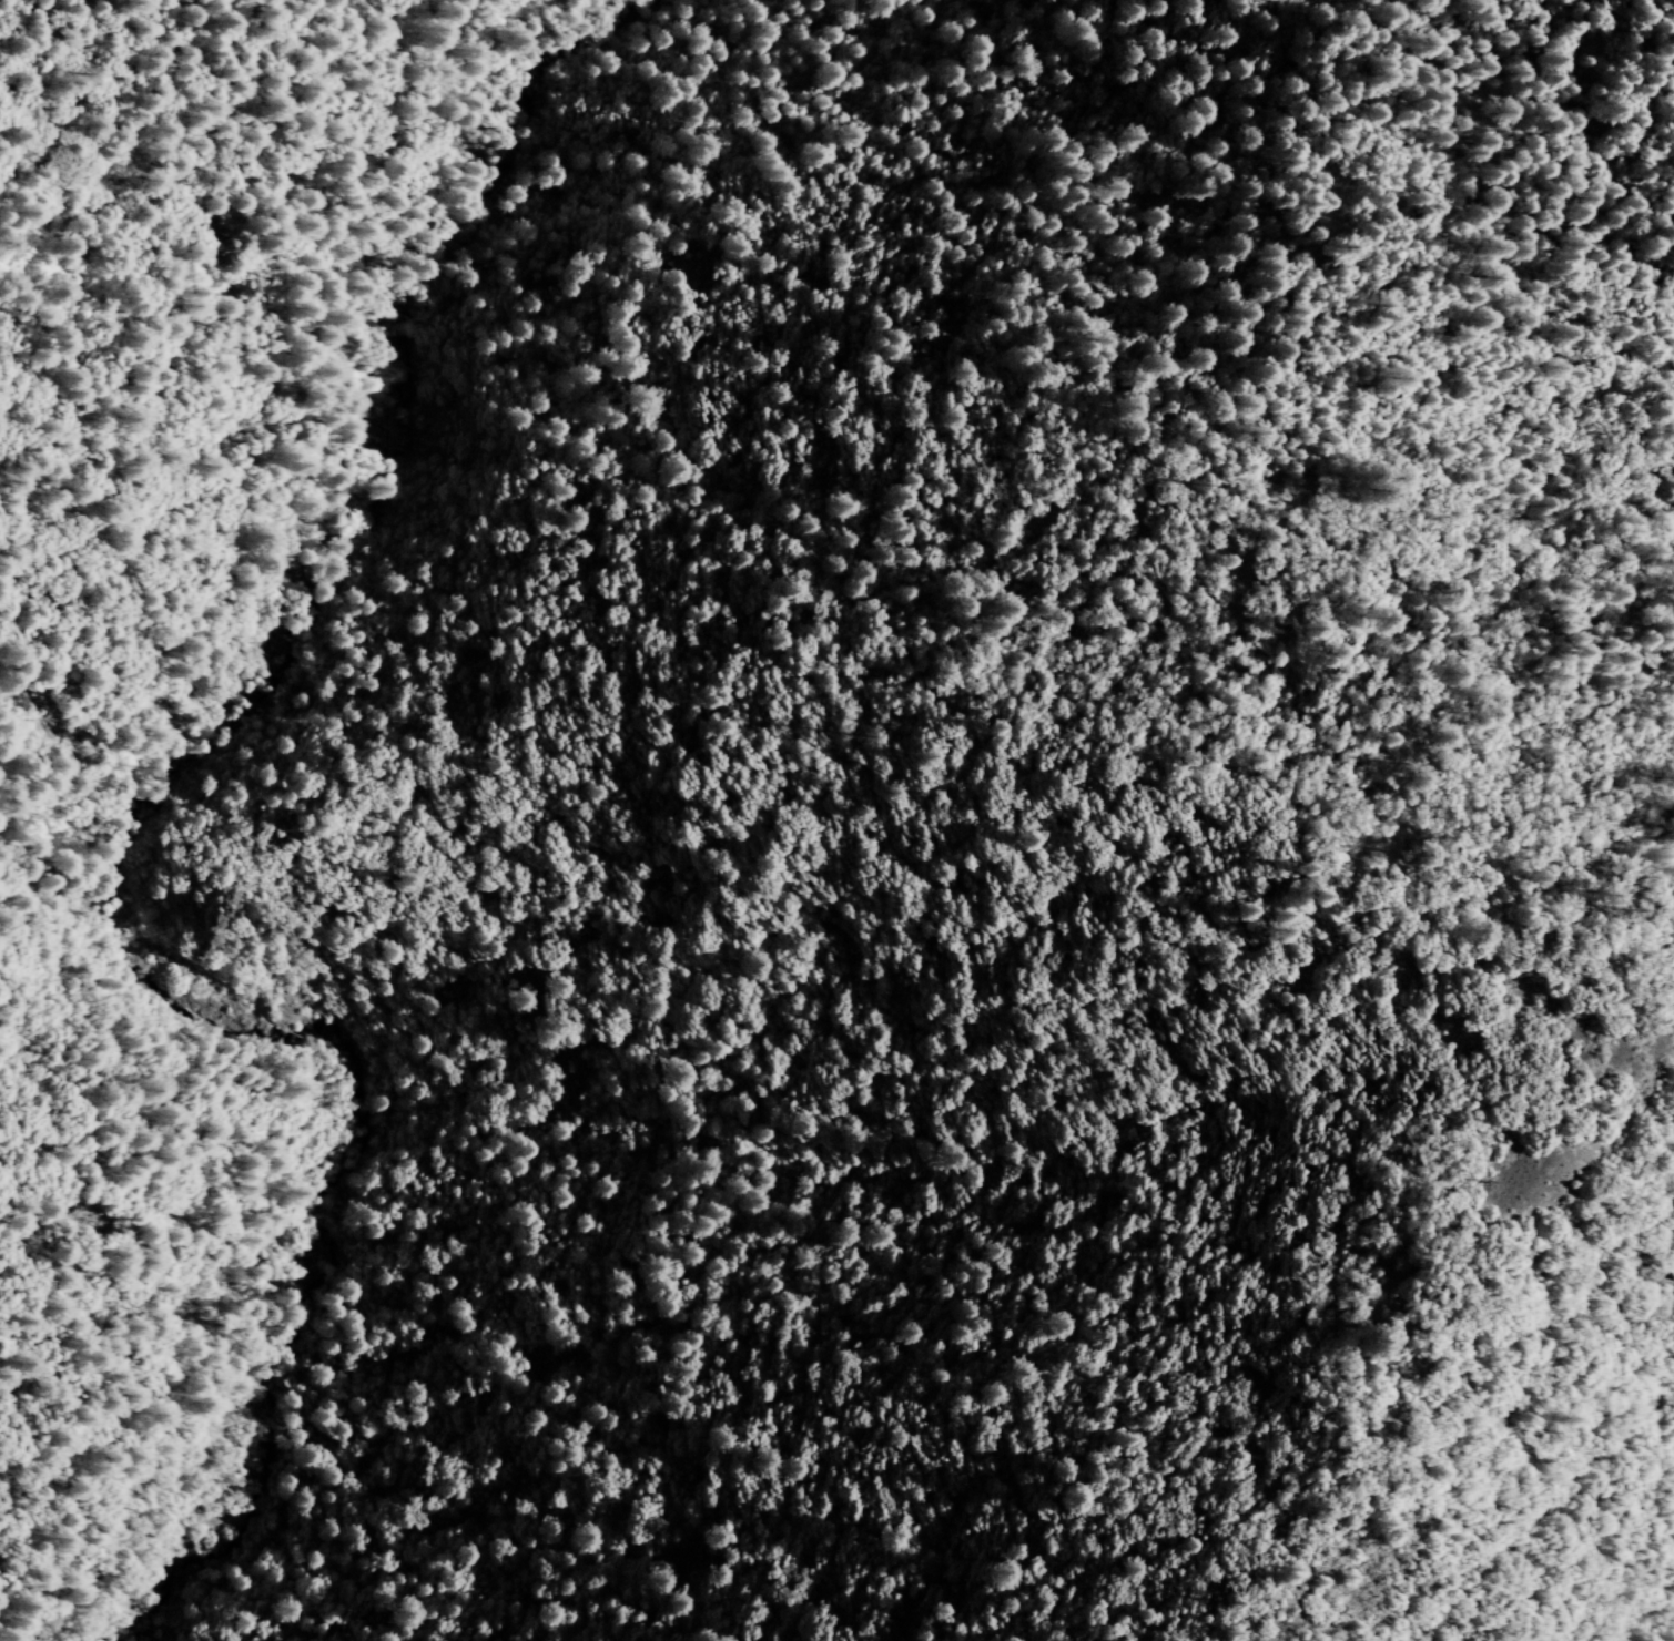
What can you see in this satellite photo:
park: (886, 650)
park: (650, 748)
road: (113, 826)
park: (1274, 1112)
park: (954, 1387)

